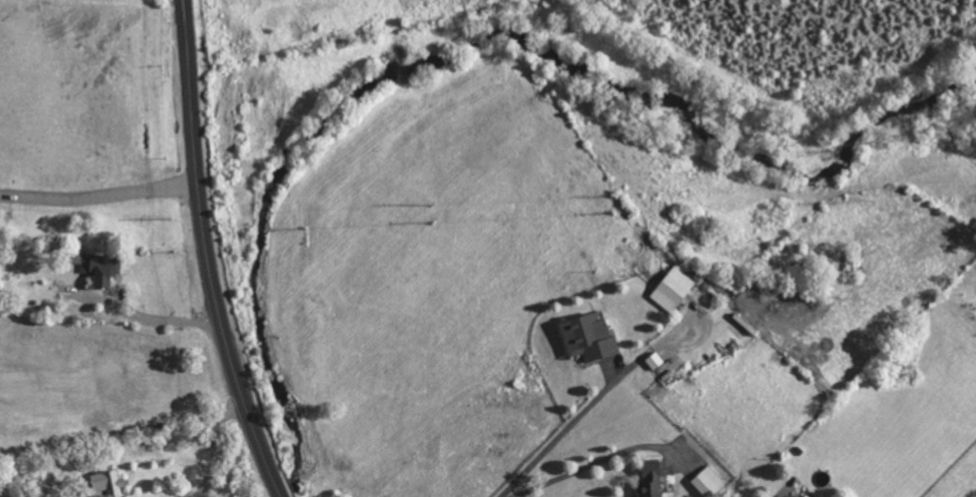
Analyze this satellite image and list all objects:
road: (98, 194)
road: (207, 253)
building: (102, 266)
building: (673, 288)
building: (590, 336)
road: (562, 431)
road: (596, 462)
building: (651, 479)
building: (708, 481)
building: (107, 483)
building: (805, 495)

